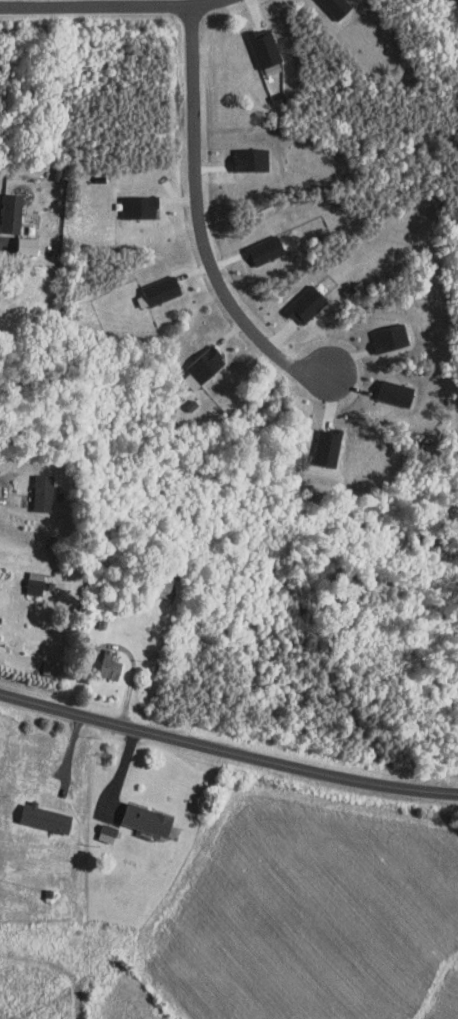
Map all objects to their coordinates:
road: (201, 4)
building: (328, 4)
road: (93, 8)
building: (241, 152)
building: (128, 200)
building: (6, 206)
road: (200, 223)
building: (18, 238)
road: (1, 243)
building: (256, 243)
building: (151, 284)
building: (296, 297)
building: (380, 331)
building: (195, 358)
building: (385, 387)
building: (316, 441)
building: (32, 486)
road: (5, 488)
building: (25, 576)
building: (39, 660)
building: (102, 662)
road: (119, 672)
road: (227, 750)
road: (119, 775)
building: (36, 812)
building: (138, 813)
building: (97, 827)

